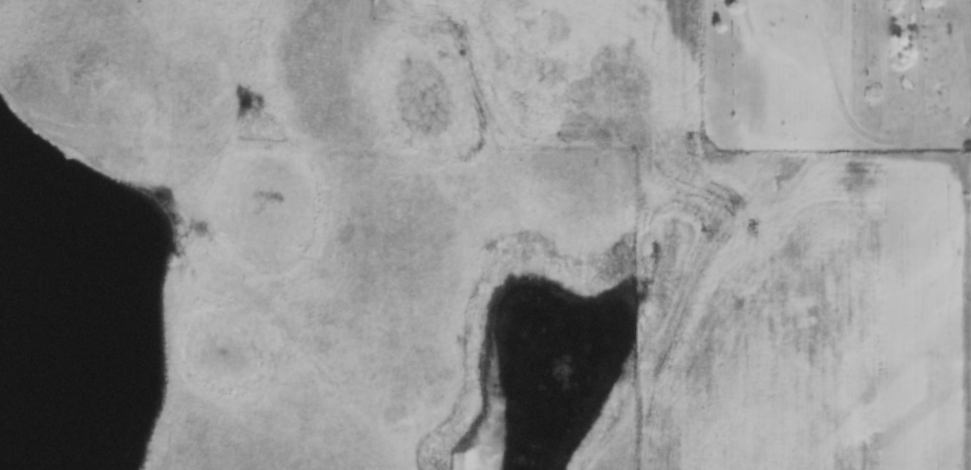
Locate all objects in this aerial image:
road: (969, 16)
road: (844, 98)

